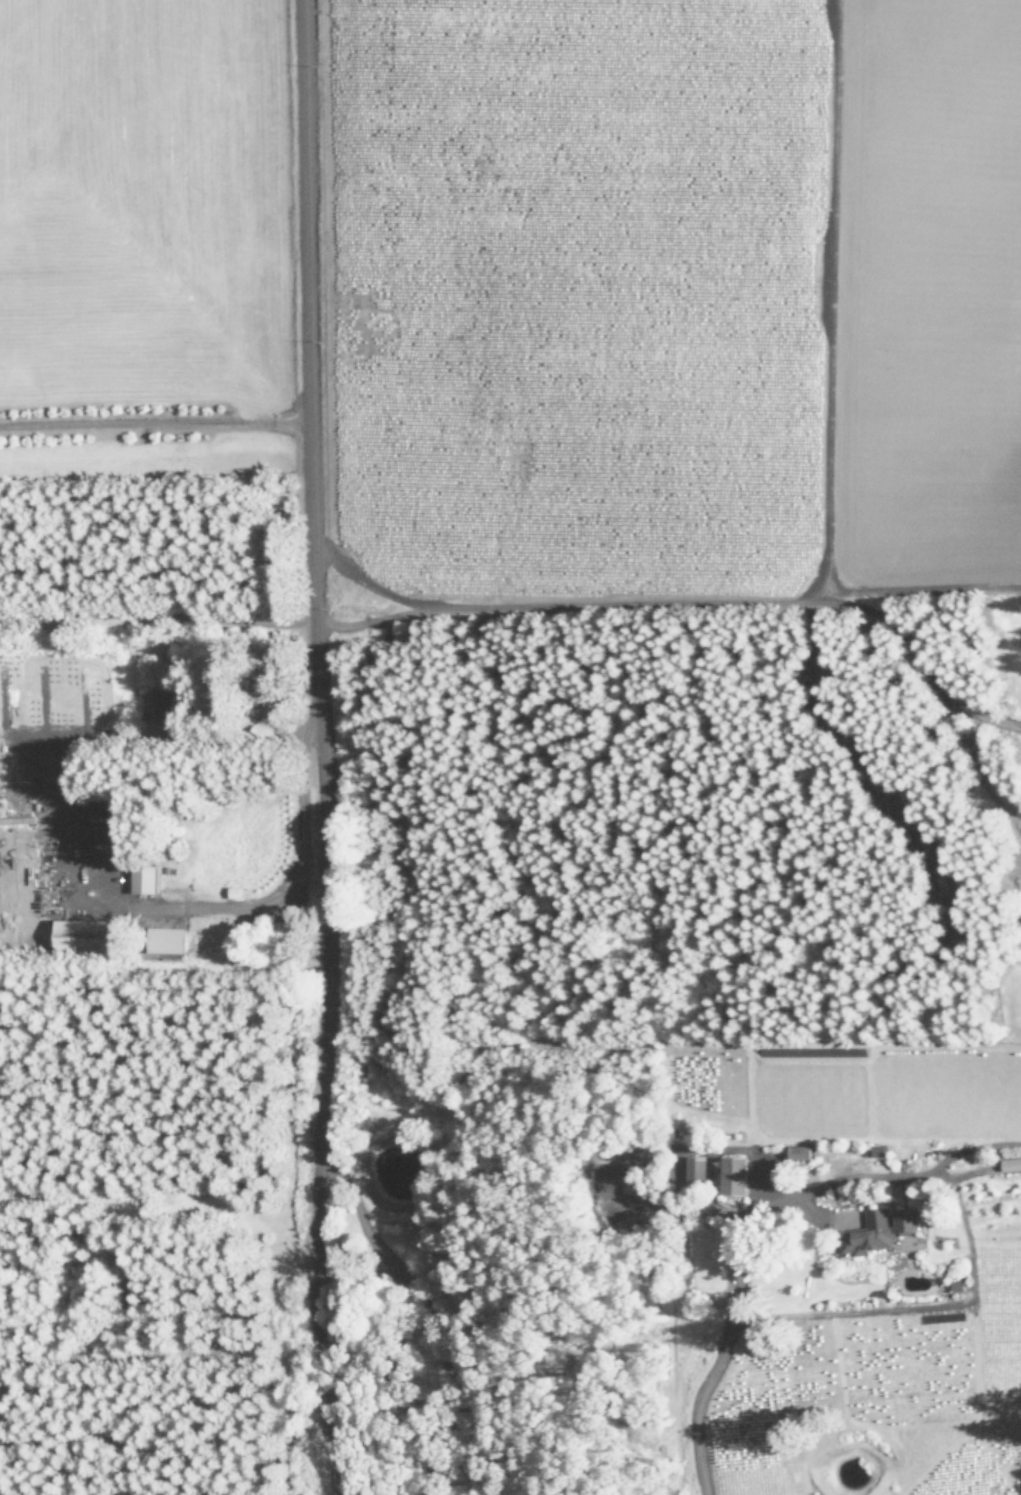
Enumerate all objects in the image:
road: (152, 422)
road: (157, 612)
building: (162, 705)
road: (320, 748)
building: (123, 831)
building: (149, 879)
road: (240, 897)
building: (84, 935)
building: (169, 939)
building: (803, 1151)
building: (1013, 1164)
building: (699, 1169)
building: (739, 1175)
building: (621, 1185)
road: (752, 1217)
building: (883, 1229)
road: (414, 1318)

